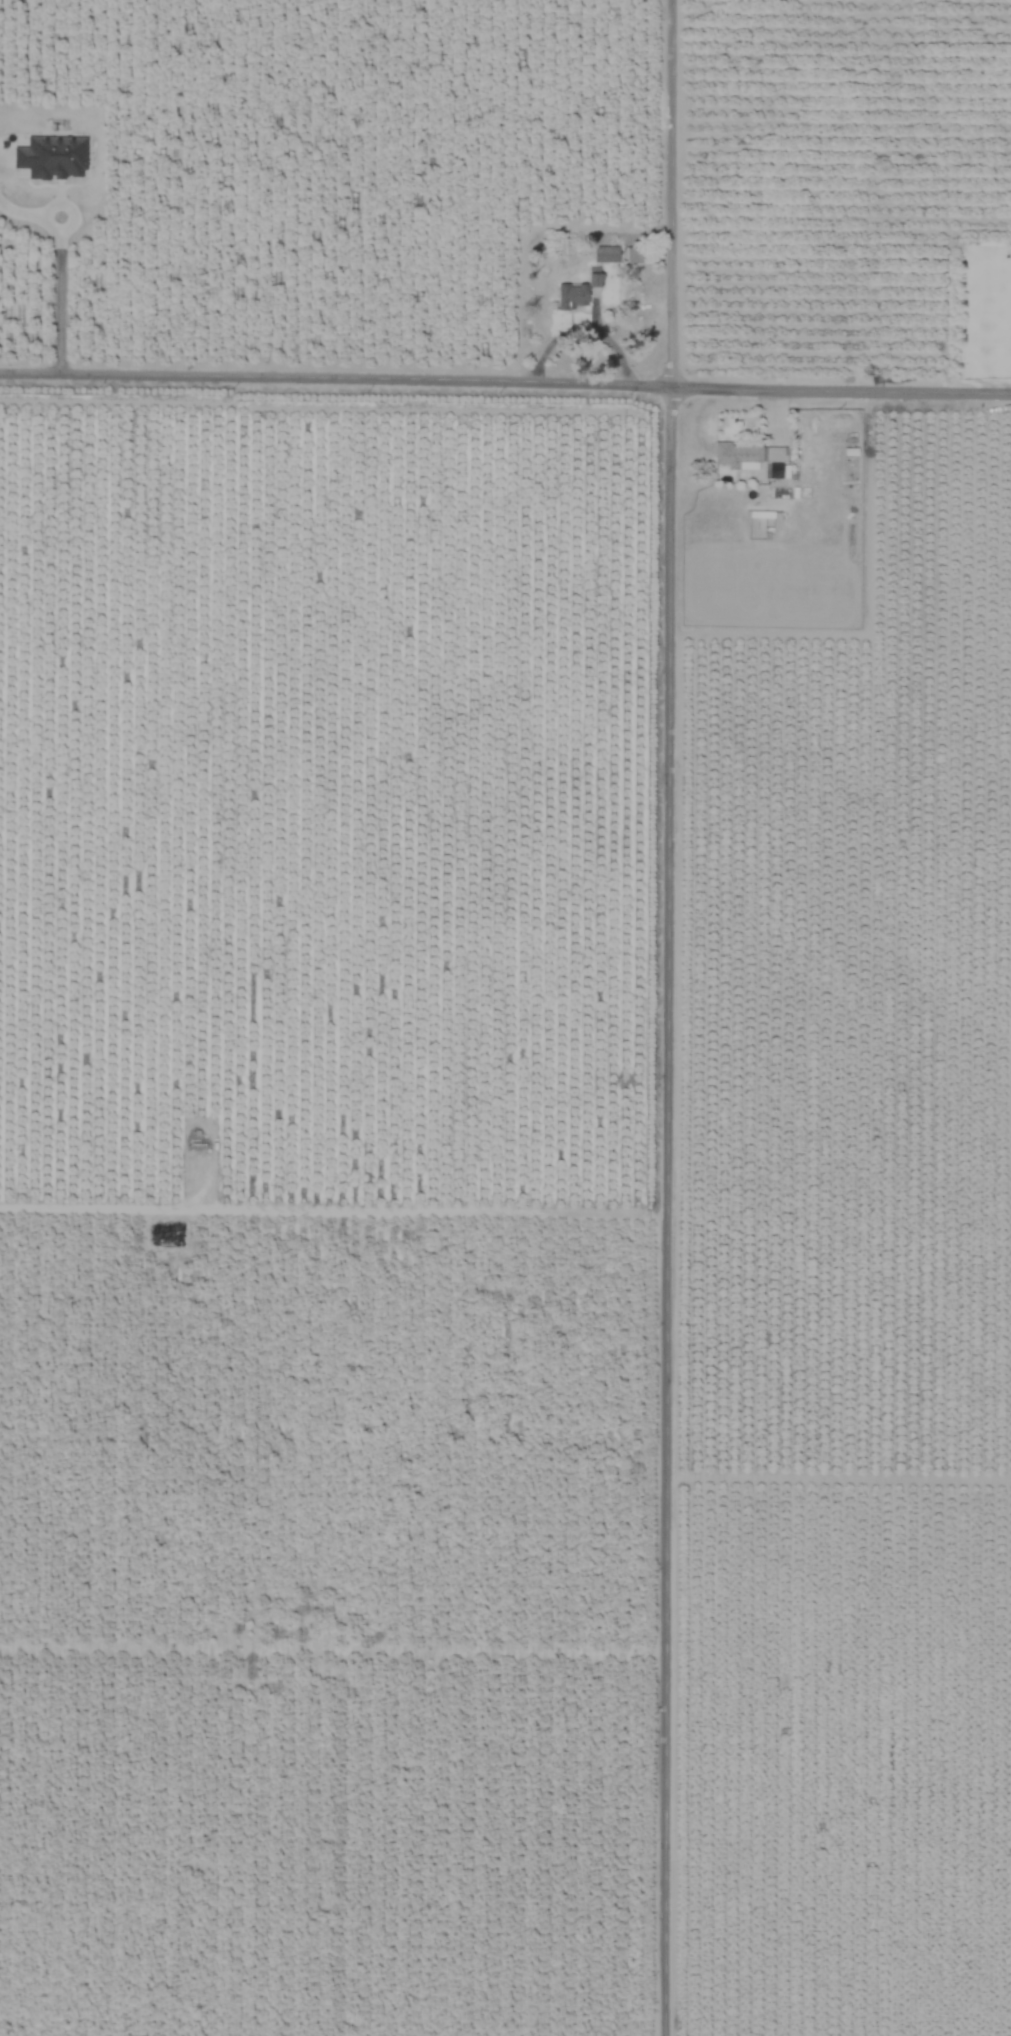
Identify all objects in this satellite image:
building: (52, 157)
building: (605, 254)
building: (594, 277)
building: (572, 295)
road: (56, 297)
road: (505, 376)
building: (751, 457)
crop: (505, 1018)
road: (668, 1018)

